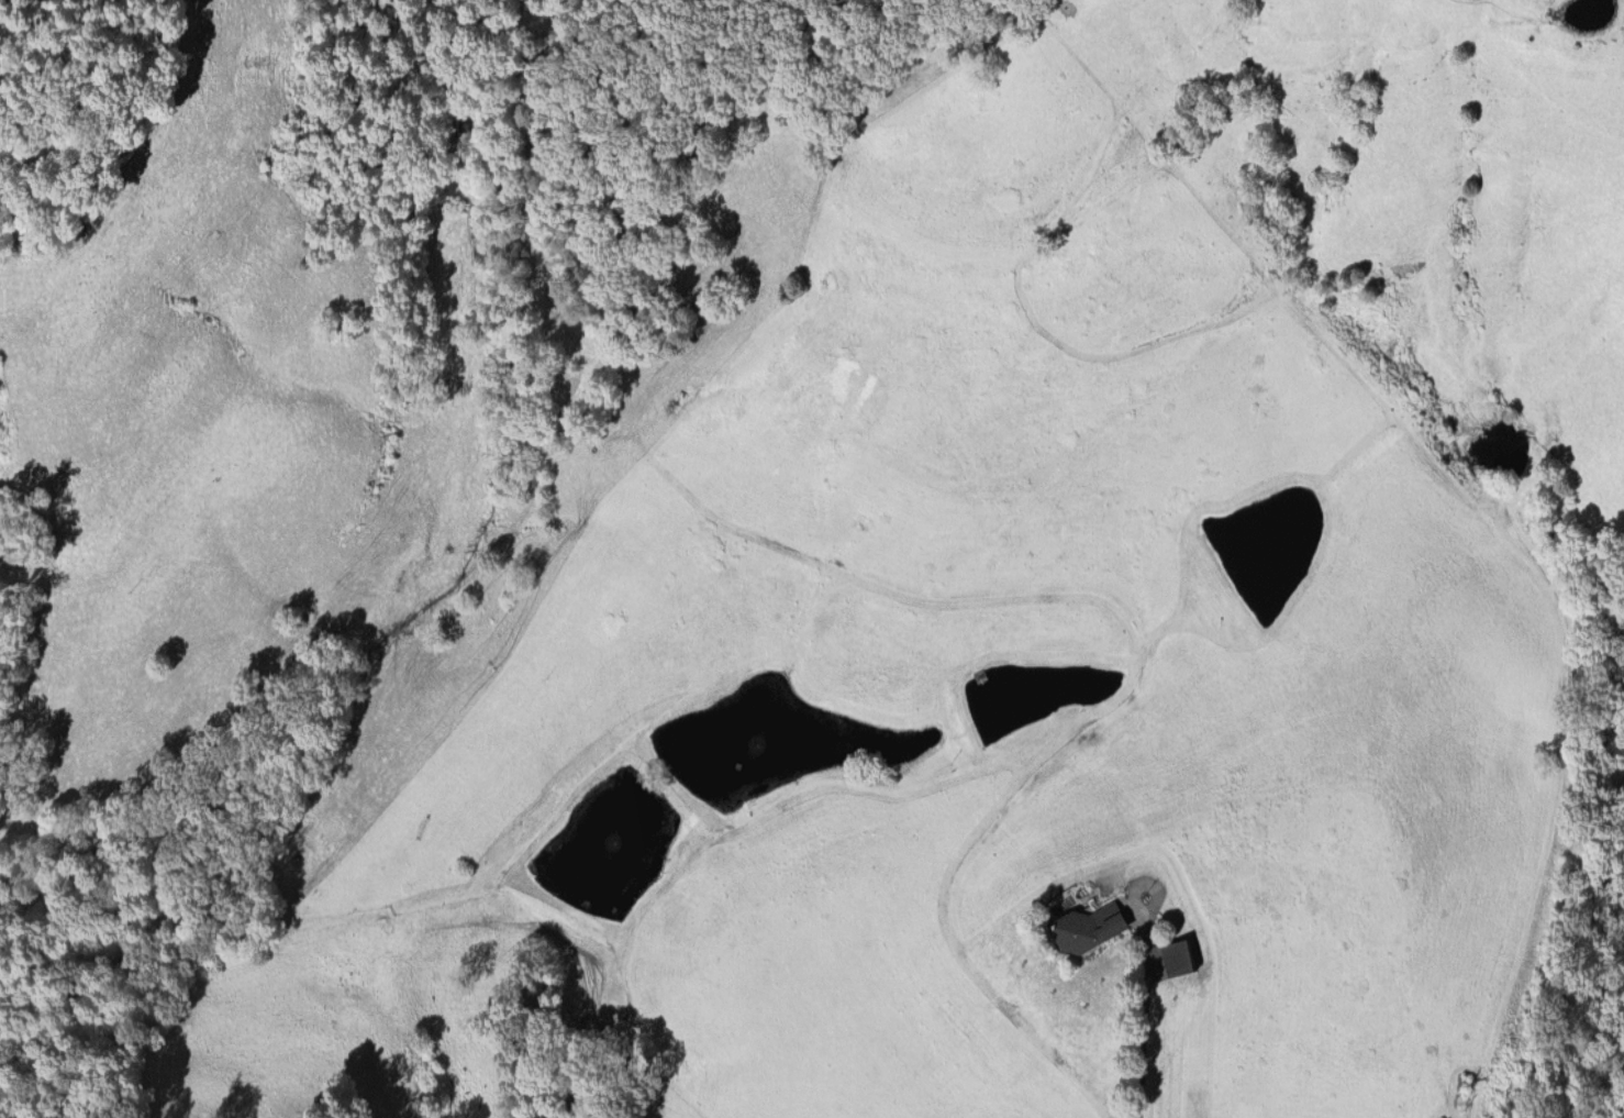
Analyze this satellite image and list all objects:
building: (1088, 927)
building: (1178, 954)
road: (1146, 1005)

